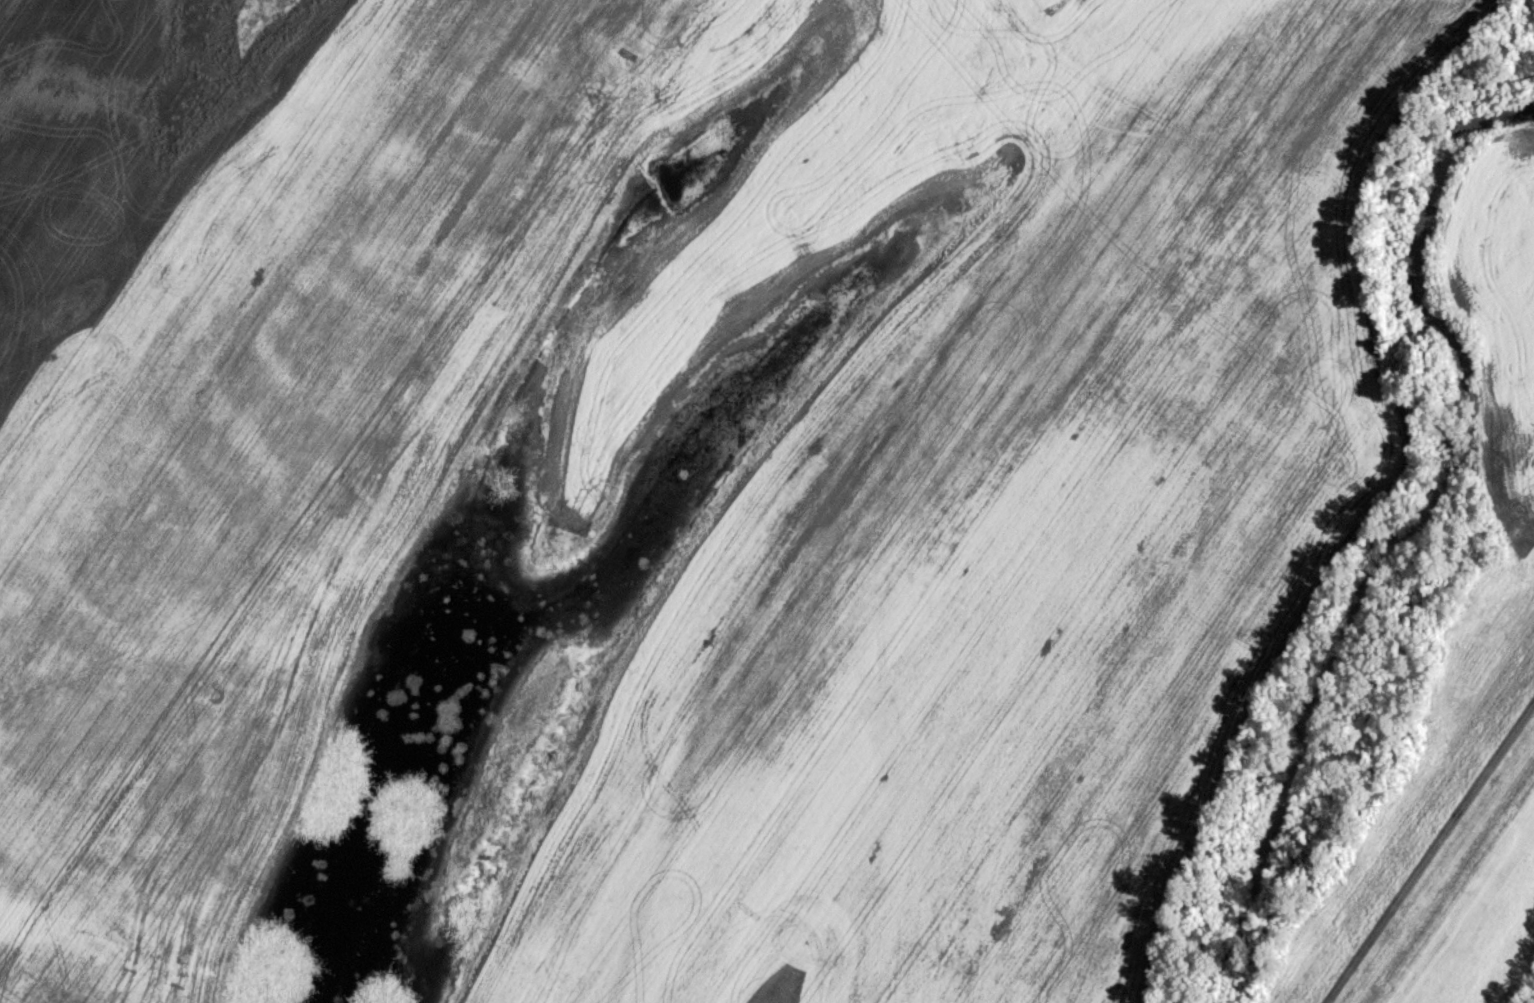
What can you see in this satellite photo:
road: (1429, 850)

